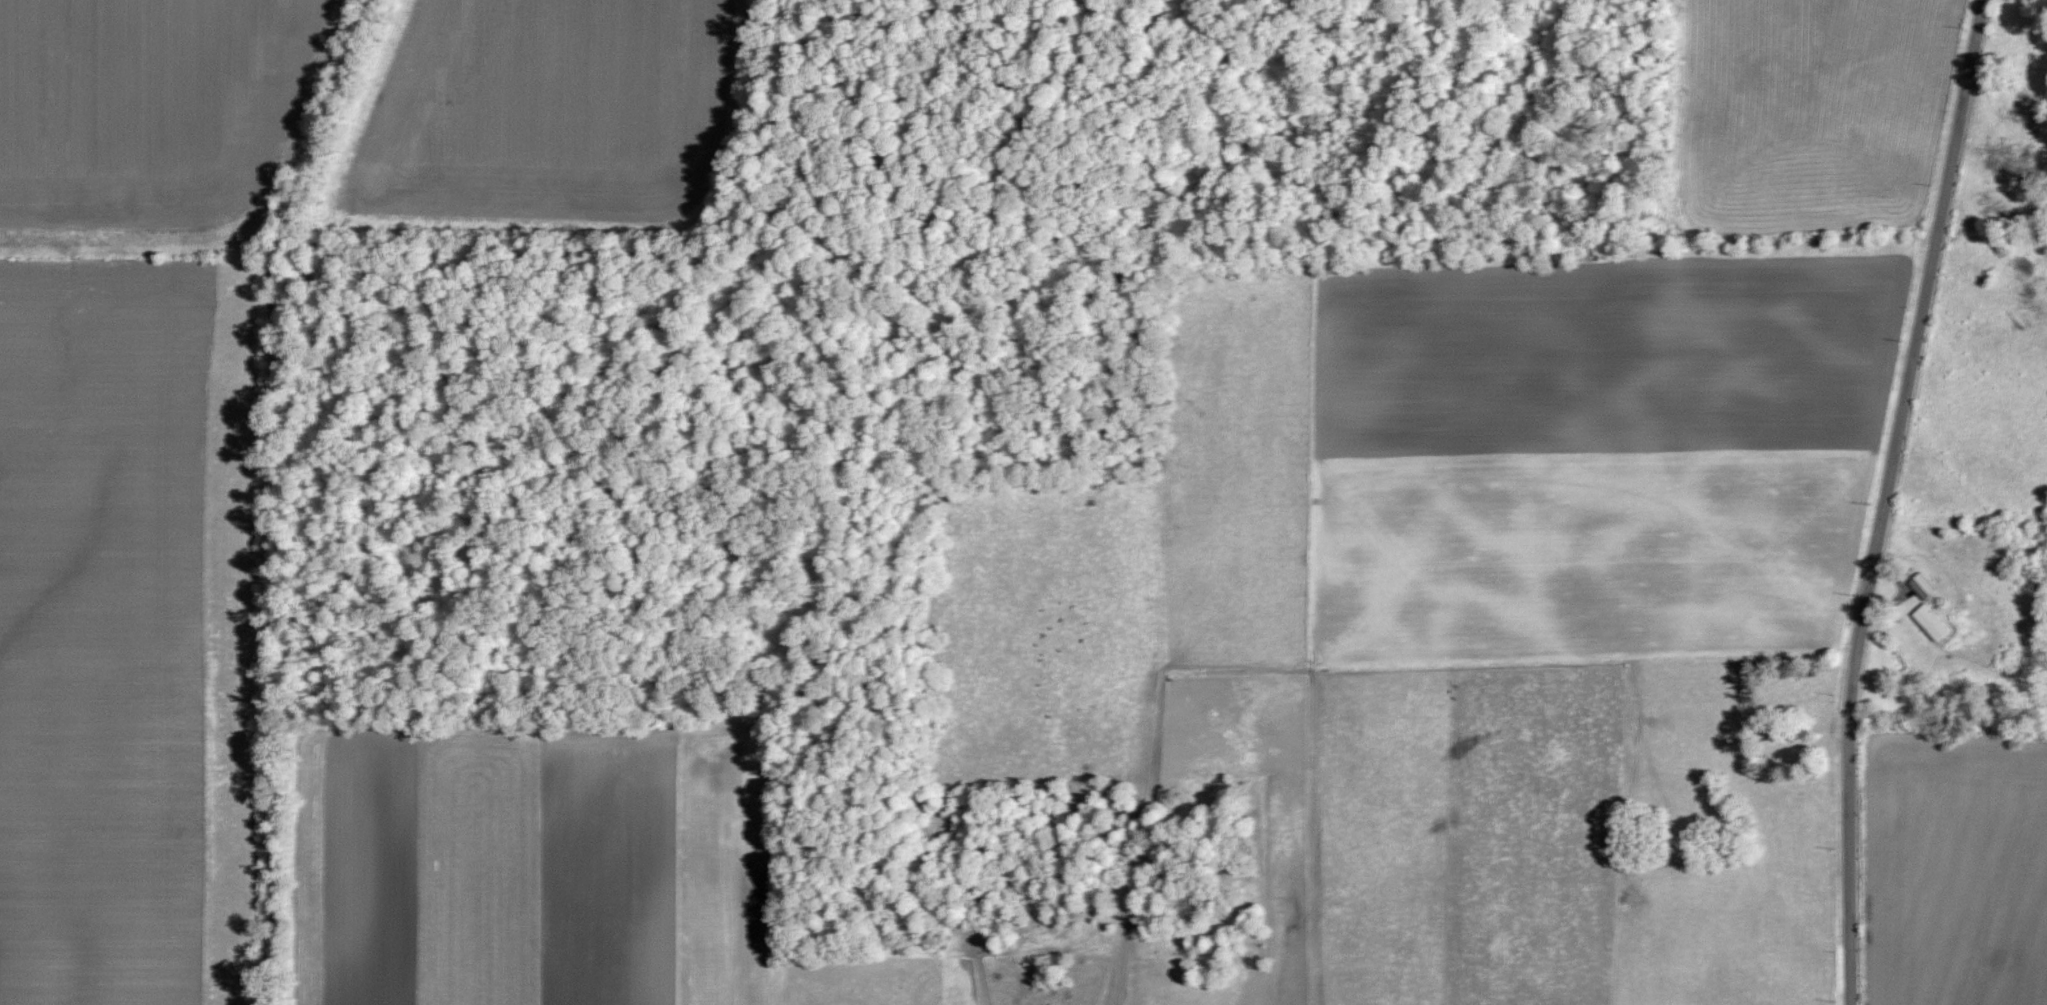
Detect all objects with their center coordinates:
road: (1883, 499)
building: (1922, 585)
building: (1931, 621)

